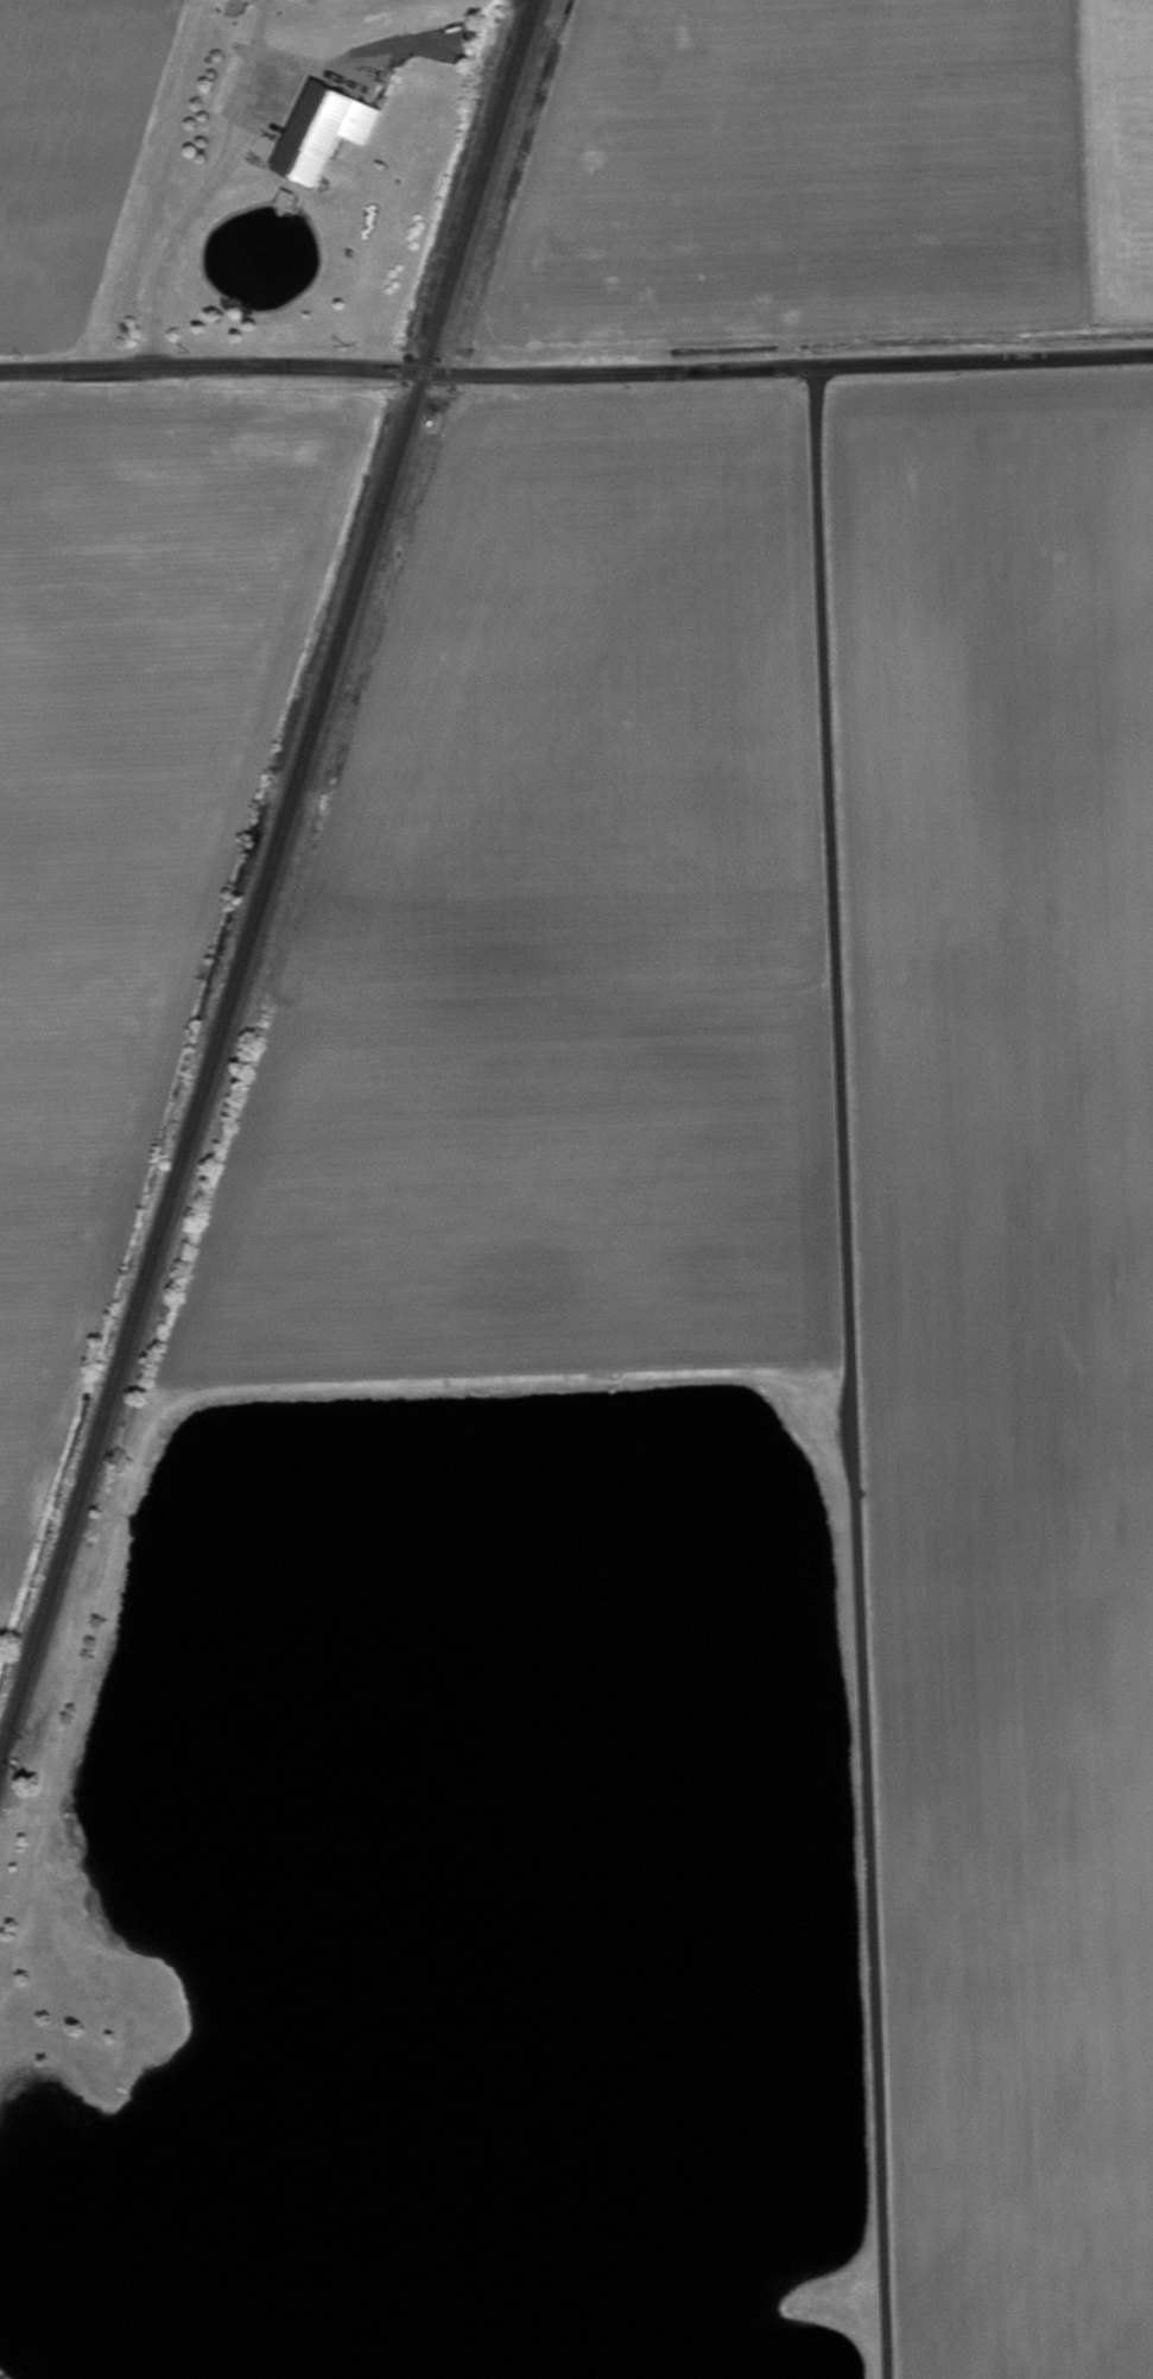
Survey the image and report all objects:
building: (331, 135)
road: (195, 221)
road: (576, 373)
crop: (128, 810)
railway: (268, 881)
road: (848, 1372)
airport runway: (970, 1809)

